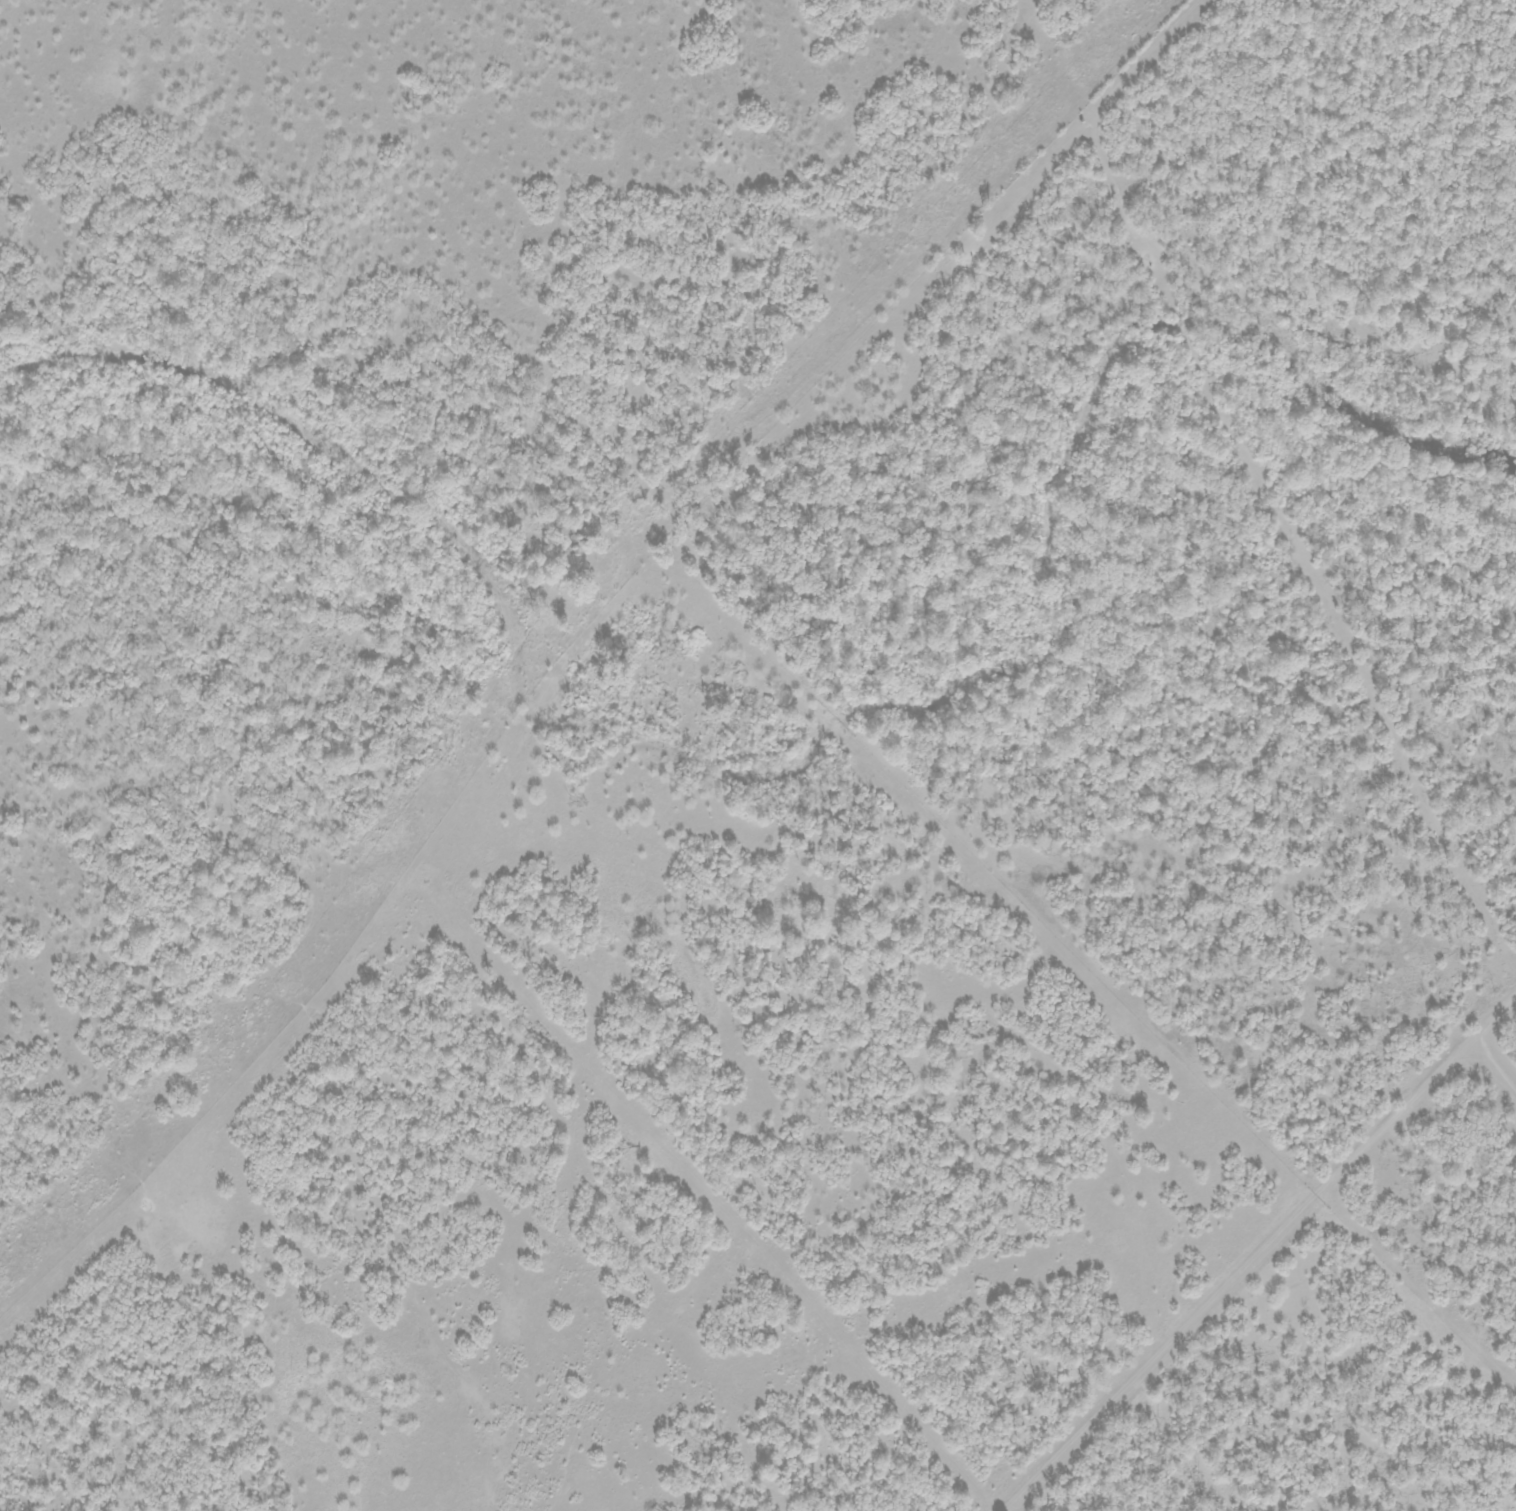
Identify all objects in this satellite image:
road: (1286, 1270)

